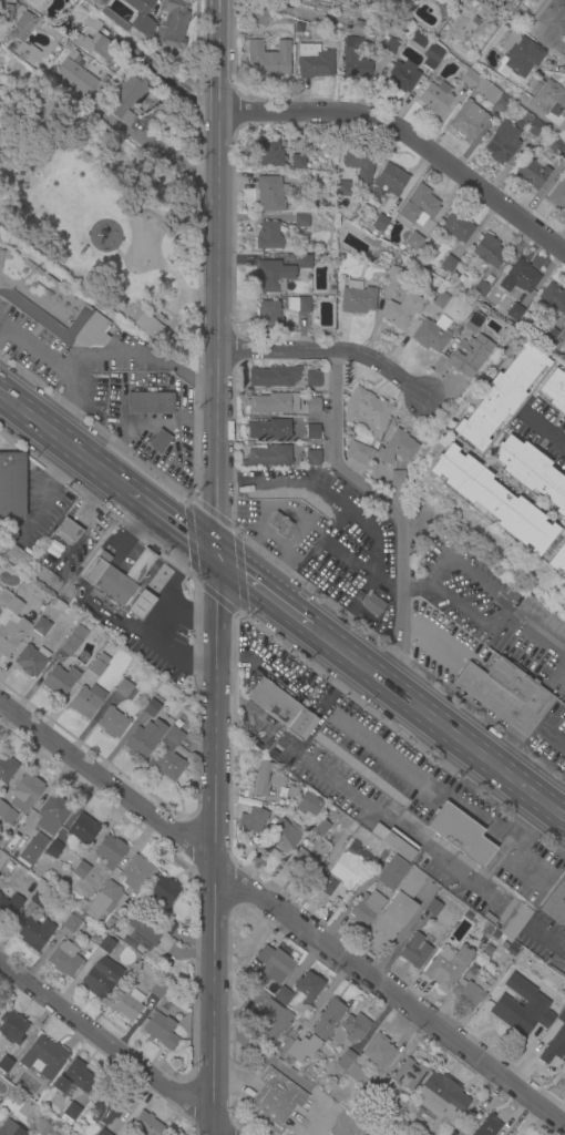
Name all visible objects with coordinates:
building: (102, 1)
building: (480, 2)
building: (4, 13)
building: (258, 17)
building: (134, 18)
building: (91, 22)
building: (548, 22)
building: (173, 23)
building: (360, 28)
building: (23, 37)
building: (418, 40)
building: (61, 42)
building: (95, 47)
building: (392, 47)
building: (520, 53)
building: (433, 57)
building: (267, 58)
building: (356, 60)
building: (315, 62)
building: (403, 75)
building: (79, 78)
building: (469, 78)
road: (174, 86)
building: (482, 86)
building: (434, 98)
building: (497, 99)
building: (127, 100)
building: (548, 103)
building: (135, 112)
building: (470, 121)
building: (531, 124)
road: (408, 141)
building: (319, 142)
road: (154, 143)
building: (502, 143)
building: (557, 147)
building: (269, 153)
building: (298, 162)
building: (315, 163)
building: (360, 164)
building: (534, 172)
building: (390, 180)
building: (342, 190)
building: (271, 194)
building: (558, 196)
building: (119, 203)
building: (417, 207)
park: (96, 213)
building: (301, 221)
building: (380, 224)
building: (455, 227)
building: (269, 236)
park: (144, 241)
building: (413, 241)
building: (370, 242)
building: (487, 252)
building: (304, 262)
building: (449, 265)
road: (148, 268)
building: (439, 273)
building: (394, 275)
building: (274, 276)
building: (522, 277)
building: (480, 289)
road: (208, 296)
road: (178, 297)
building: (492, 298)
building: (439, 299)
building: (358, 300)
building: (552, 300)
building: (49, 303)
building: (153, 308)
building: (298, 309)
building: (401, 309)
building: (515, 313)
building: (268, 316)
building: (527, 321)
building: (474, 323)
building: (150, 327)
building: (564, 328)
building: (432, 334)
building: (547, 335)
building: (564, 347)
road: (330, 352)
road: (146, 354)
road: (47, 357)
building: (465, 358)
parking lot: (71, 360)
building: (274, 377)
building: (312, 379)
building: (555, 391)
building: (500, 397)
building: (148, 402)
building: (271, 403)
building: (312, 405)
building: (364, 410)
road: (62, 413)
building: (270, 429)
building: (311, 431)
road: (546, 432)
road: (63, 441)
building: (160, 442)
building: (397, 448)
building: (360, 454)
building: (269, 457)
building: (312, 458)
building: (532, 472)
road: (351, 478)
building: (398, 479)
road: (39, 483)
building: (11, 485)
road: (188, 499)
building: (493, 500)
road: (350, 514)
road: (171, 522)
building: (278, 524)
road: (129, 528)
building: (65, 531)
traffic signals: (216, 556)
road: (173, 560)
building: (557, 560)
road: (140, 562)
road: (349, 563)
road: (216, 566)
building: (115, 576)
gas station: (115, 576)
road: (417, 586)
road: (261, 591)
building: (4, 597)
road: (503, 602)
building: (140, 604)
building: (13, 605)
building: (374, 606)
road: (188, 609)
building: (543, 617)
building: (40, 626)
road: (160, 634)
building: (11, 636)
road: (404, 637)
road: (533, 637)
building: (73, 641)
building: (31, 661)
building: (96, 664)
road: (554, 675)
building: (58, 681)
building: (122, 687)
building: (506, 695)
building: (85, 701)
building: (273, 703)
building: (152, 706)
road: (246, 707)
road: (528, 709)
road: (528, 720)
building: (111, 722)
road: (435, 723)
building: (301, 725)
road: (549, 735)
building: (144, 739)
road: (501, 746)
building: (167, 756)
building: (7, 769)
building: (261, 779)
road: (109, 786)
building: (290, 791)
building: (25, 794)
building: (308, 805)
road: (472, 808)
building: (52, 812)
building: (7, 814)
building: (251, 820)
building: (273, 820)
building: (320, 827)
building: (81, 829)
building: (282, 836)
building: (459, 839)
building: (393, 841)
building: (32, 849)
building: (53, 849)
building: (109, 851)
building: (357, 855)
building: (301, 862)
building: (9, 867)
building: (81, 870)
building: (135, 873)
building: (392, 873)
building: (325, 885)
building: (162, 890)
building: (0, 893)
building: (39, 899)
building: (105, 901)
building: (556, 904)
building: (366, 908)
building: (9, 909)
building: (394, 912)
building: (442, 913)
building: (515, 920)
building: (72, 922)
building: (110, 923)
building: (487, 930)
building: (564, 932)
building: (34, 933)
building: (140, 933)
road: (547, 937)
building: (107, 943)
building: (415, 951)
building: (64, 958)
building: (274, 964)
building: (445, 965)
building: (102, 979)
building: (306, 989)
building: (158, 990)
building: (466, 994)
building: (282, 996)
road: (391, 996)
building: (126, 1003)
building: (269, 1014)
building: (524, 1015)
building: (327, 1018)
building: (12, 1027)
building: (350, 1030)
building: (161, 1031)
building: (554, 1041)
road: (114, 1047)
building: (302, 1047)
building: (42, 1057)
building: (370, 1057)
building: (346, 1061)
building: (6, 1064)
building: (410, 1075)
building: (73, 1078)
building: (440, 1095)
building: (276, 1101)
building: (398, 1103)
building: (109, 1104)
building: (70, 1114)
building: (43, 1125)
building: (58, 1125)
building: (144, 1125)
building: (347, 1126)
building: (487, 1126)
building: (10, 1128)
building: (103, 1133)

